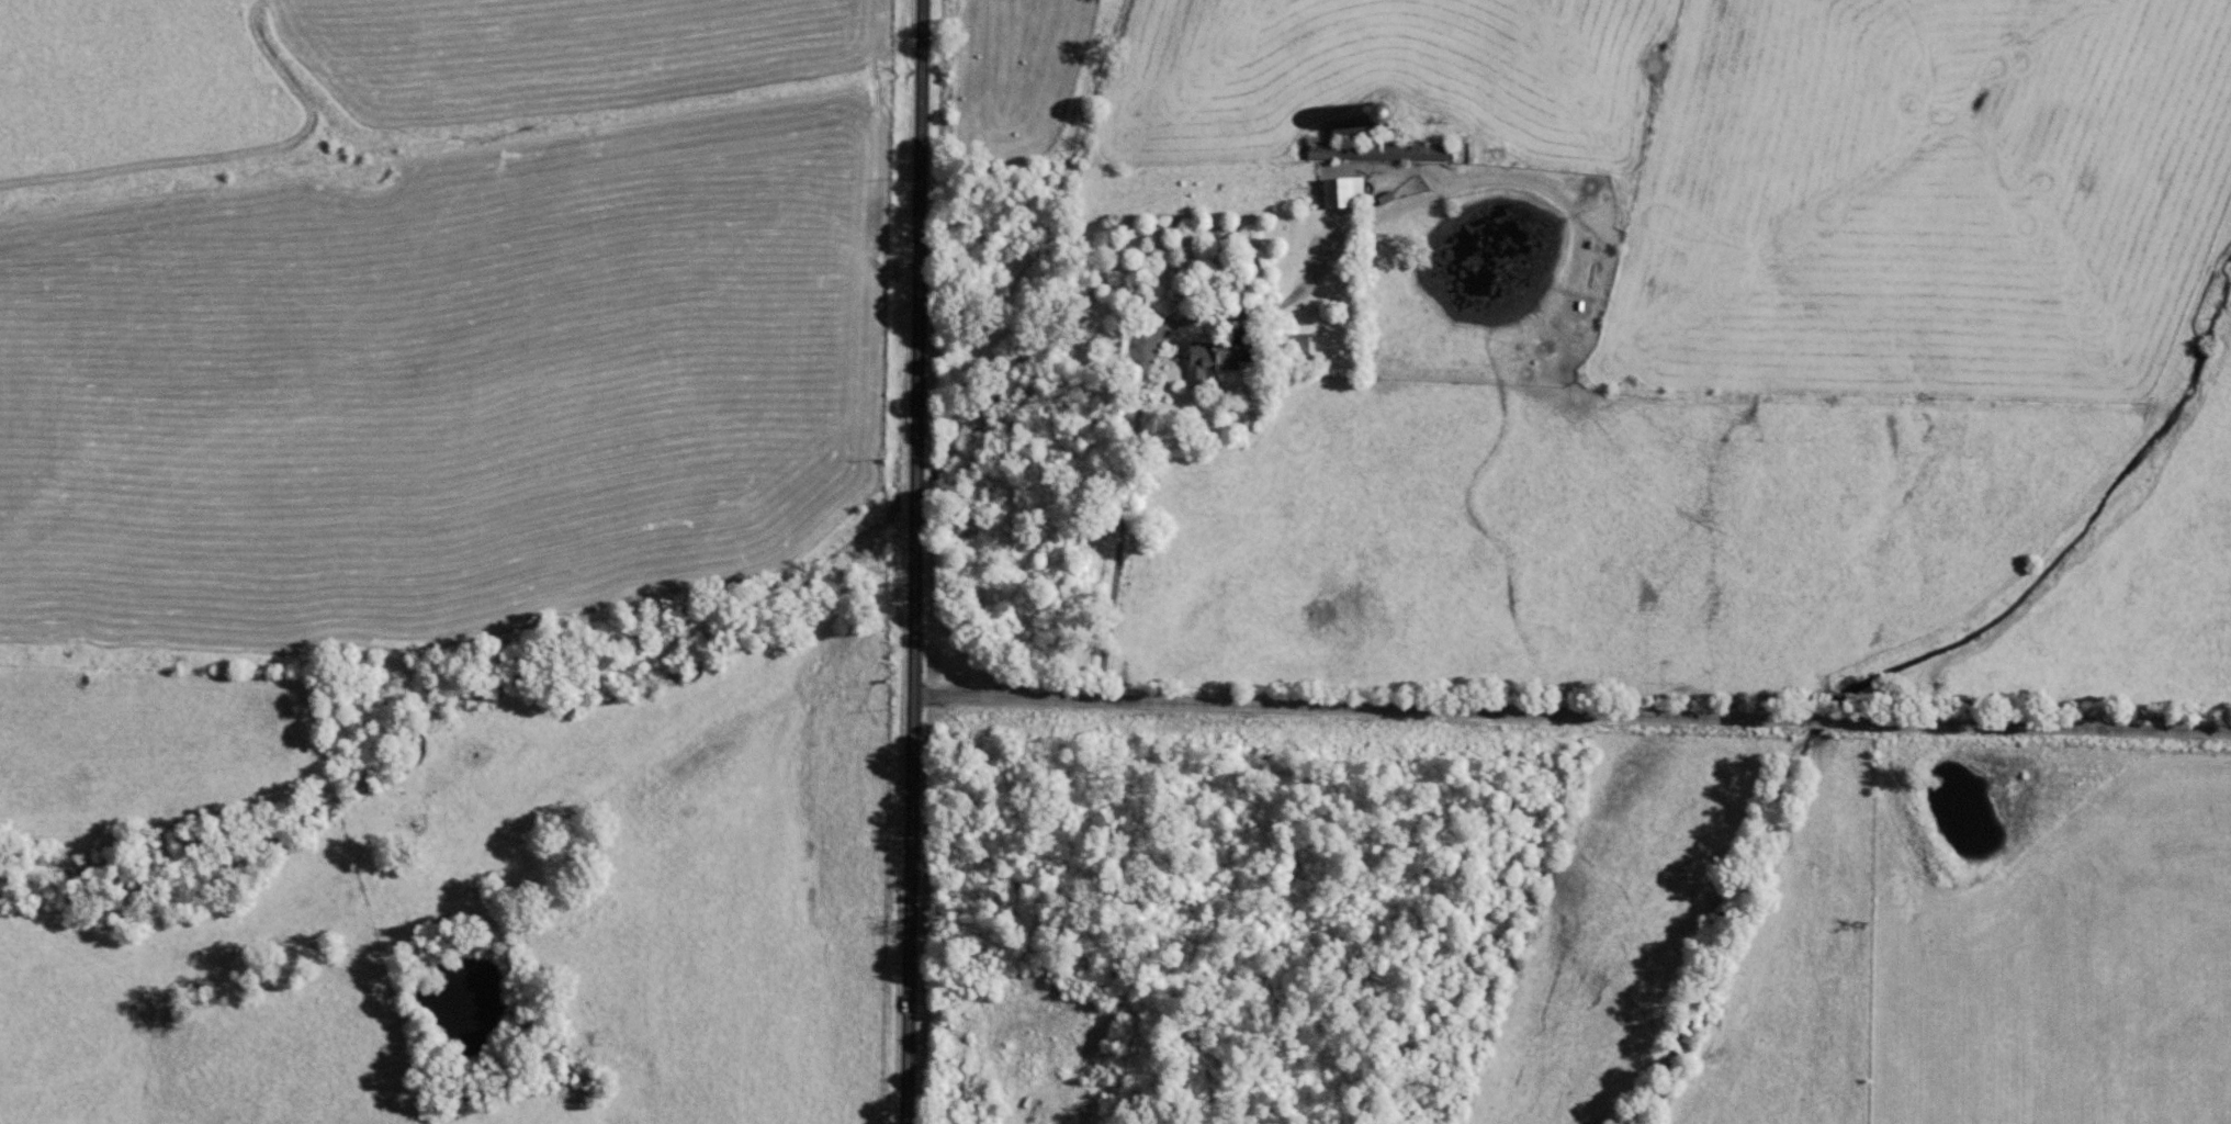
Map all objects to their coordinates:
building: (1351, 135)
building: (1407, 156)
building: (1342, 196)
building: (1295, 348)
building: (1212, 362)
road: (914, 562)
road: (946, 636)
road: (1570, 710)

